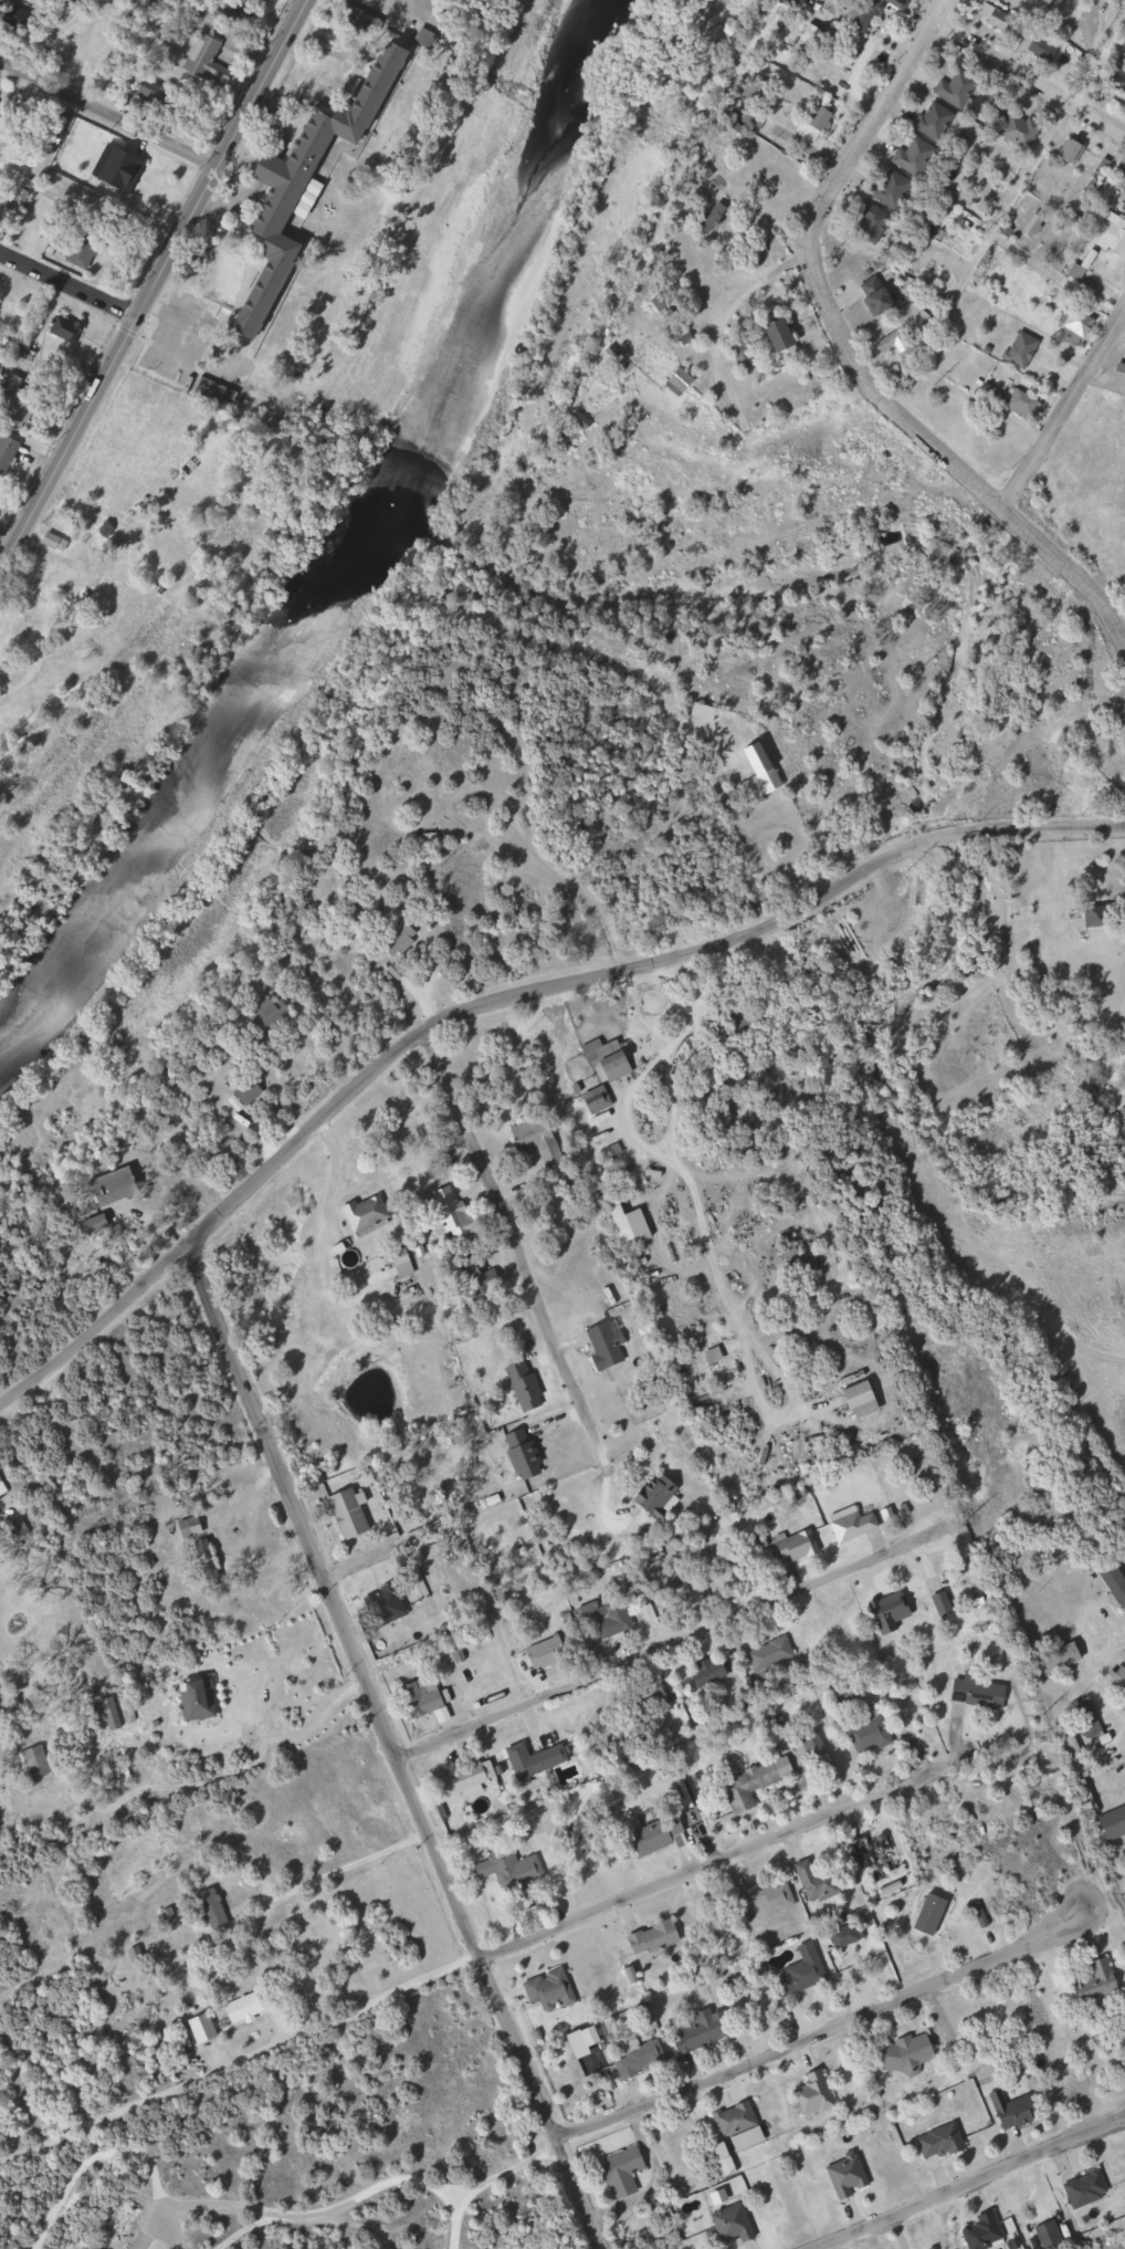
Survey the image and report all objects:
building: (1053, 1)
building: (874, 11)
building: (431, 39)
building: (812, 43)
building: (104, 49)
building: (209, 59)
road: (1029, 74)
building: (958, 88)
building: (3, 103)
road: (109, 116)
building: (936, 121)
building: (818, 124)
building: (40, 129)
building: (1022, 130)
building: (1077, 151)
building: (916, 158)
building: (1119, 179)
building: (314, 184)
building: (780, 189)
building: (892, 189)
building: (1122, 203)
building: (20, 205)
road: (1005, 210)
building: (717, 218)
building: (872, 222)
building: (1113, 234)
building: (85, 253)
road: (67, 286)
road: (151, 289)
building: (882, 294)
building: (1079, 324)
building: (70, 331)
building: (787, 335)
building: (744, 354)
road: (849, 357)
building: (682, 384)
building: (218, 394)
building: (1026, 404)
road: (1070, 414)
building: (9, 452)
building: (0, 512)
building: (103, 599)
building: (706, 712)
building: (761, 777)
building: (1097, 918)
building: (402, 940)
road: (628, 973)
building: (273, 1015)
building: (749, 1026)
building: (611, 1058)
building: (600, 1100)
building: (542, 1140)
building: (117, 1186)
building: (454, 1214)
building: (370, 1216)
building: (628, 1223)
road: (518, 1242)
building: (797, 1259)
building: (407, 1265)
road: (95, 1327)
building: (607, 1347)
building: (526, 1388)
building: (525, 1455)
building: (3, 1488)
building: (659, 1497)
building: (351, 1515)
building: (193, 1527)
building: (853, 1528)
building: (799, 1546)
building: (209, 1563)
road: (362, 1569)
building: (1117, 1581)
building: (390, 1603)
building: (944, 1603)
building: (893, 1611)
building: (604, 1618)
road: (1084, 1650)
building: (548, 1654)
building: (771, 1654)
building: (1064, 1657)
building: (711, 1673)
road: (602, 1675)
building: (1119, 1681)
building: (980, 1694)
building: (423, 1697)
building: (203, 1701)
building: (654, 1701)
building: (112, 1713)
road: (319, 1714)
building: (1090, 1720)
building: (870, 1736)
road: (393, 1748)
building: (536, 1760)
building: (40, 1762)
road: (238, 1771)
building: (465, 1782)
building: (749, 1787)
building: (1114, 1824)
building: (660, 1835)
building: (876, 1853)
road: (335, 1870)
building: (514, 1871)
building: (820, 1884)
road: (656, 1890)
building: (771, 1898)
building: (215, 1910)
building: (848, 1937)
building: (656, 1938)
building: (806, 1973)
building: (1100, 1983)
building: (553, 1990)
building: (248, 2008)
building: (705, 2031)
building: (907, 2054)
building: (642, 2058)
road: (756, 2061)
building: (817, 2094)
building: (1014, 2111)
road: (272, 2116)
building: (743, 2125)
building: (944, 2142)
building: (624, 2173)
building: (849, 2176)
road: (969, 2184)
building: (1090, 2189)
building: (735, 2225)
building: (985, 2231)

